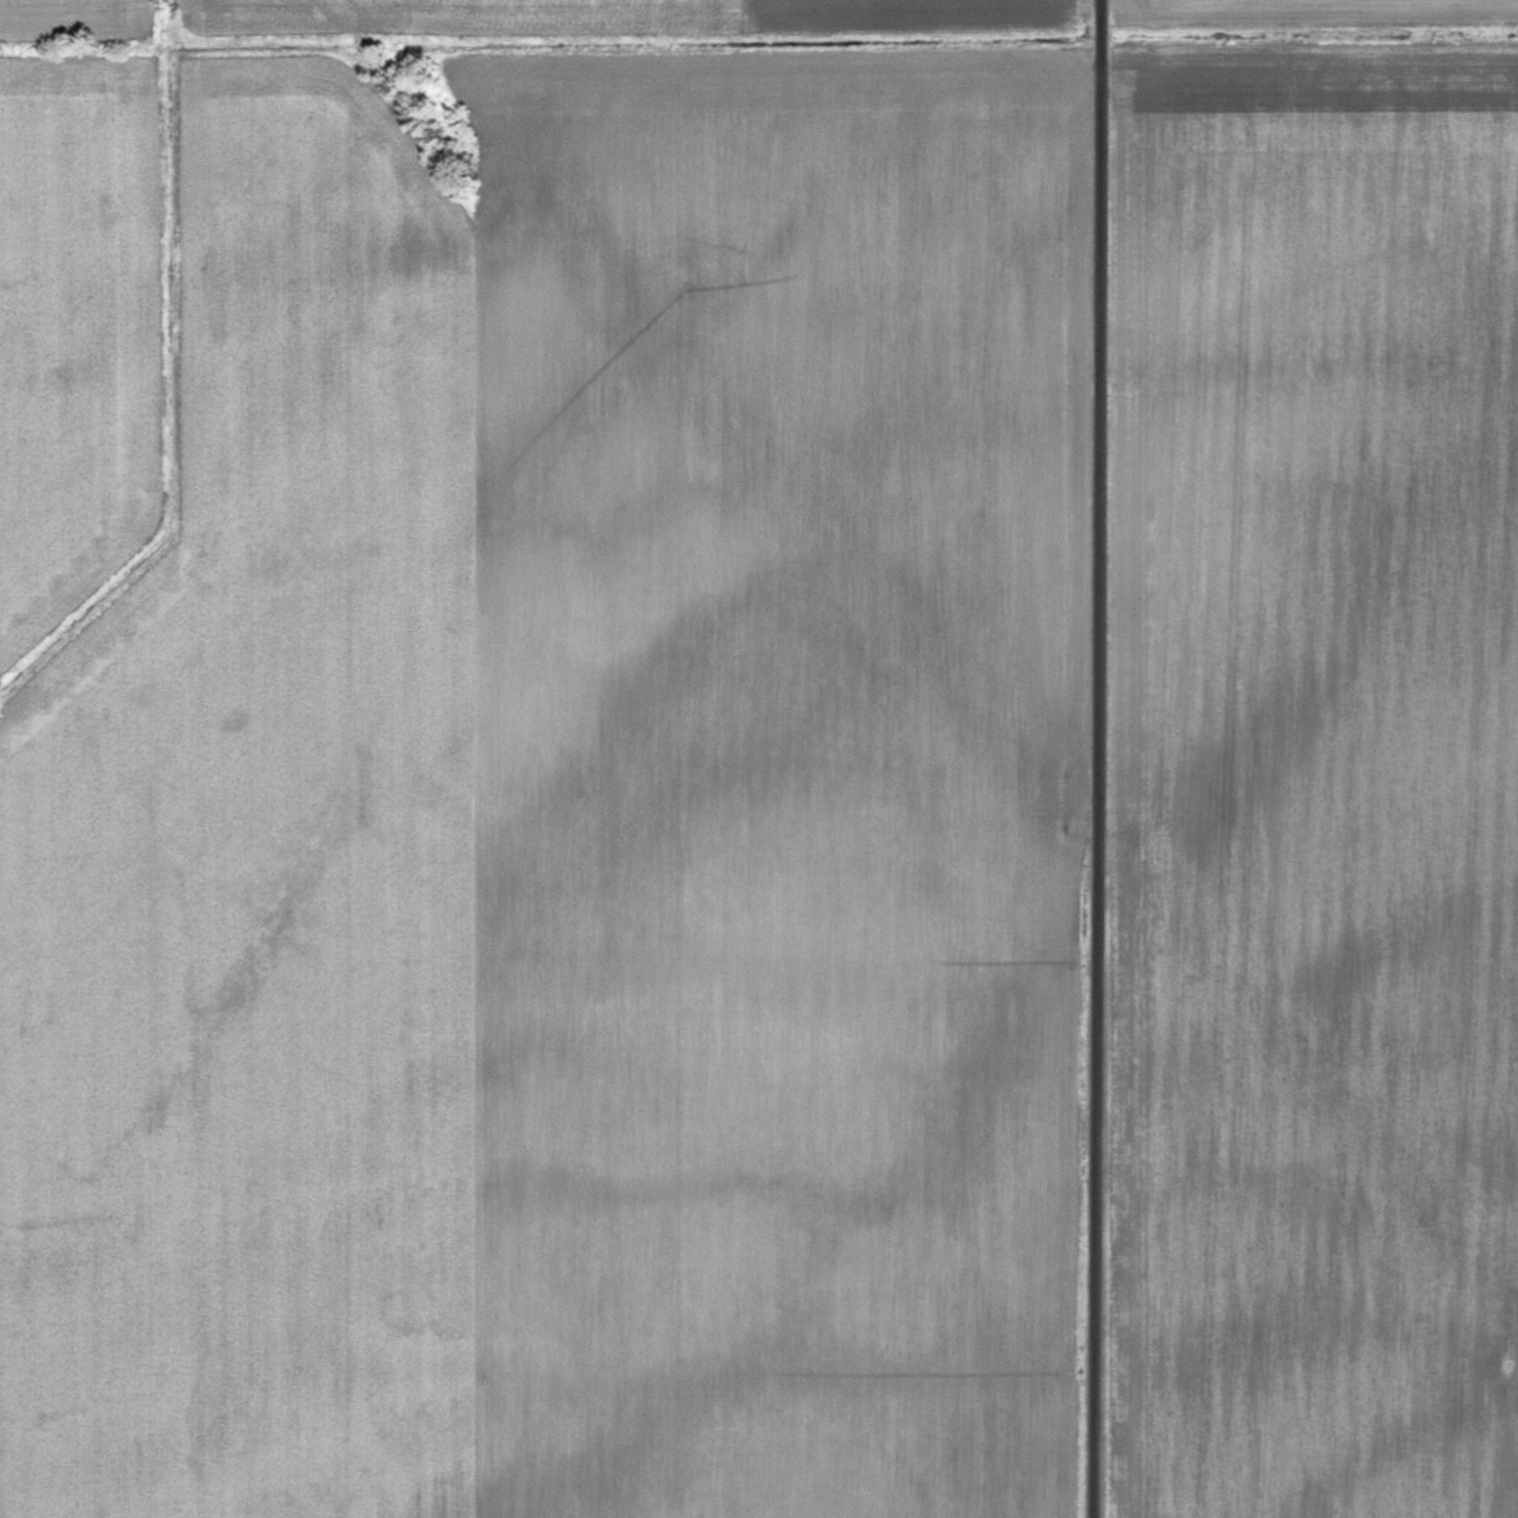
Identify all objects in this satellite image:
road: (1098, 439)
road: (1096, 1198)

